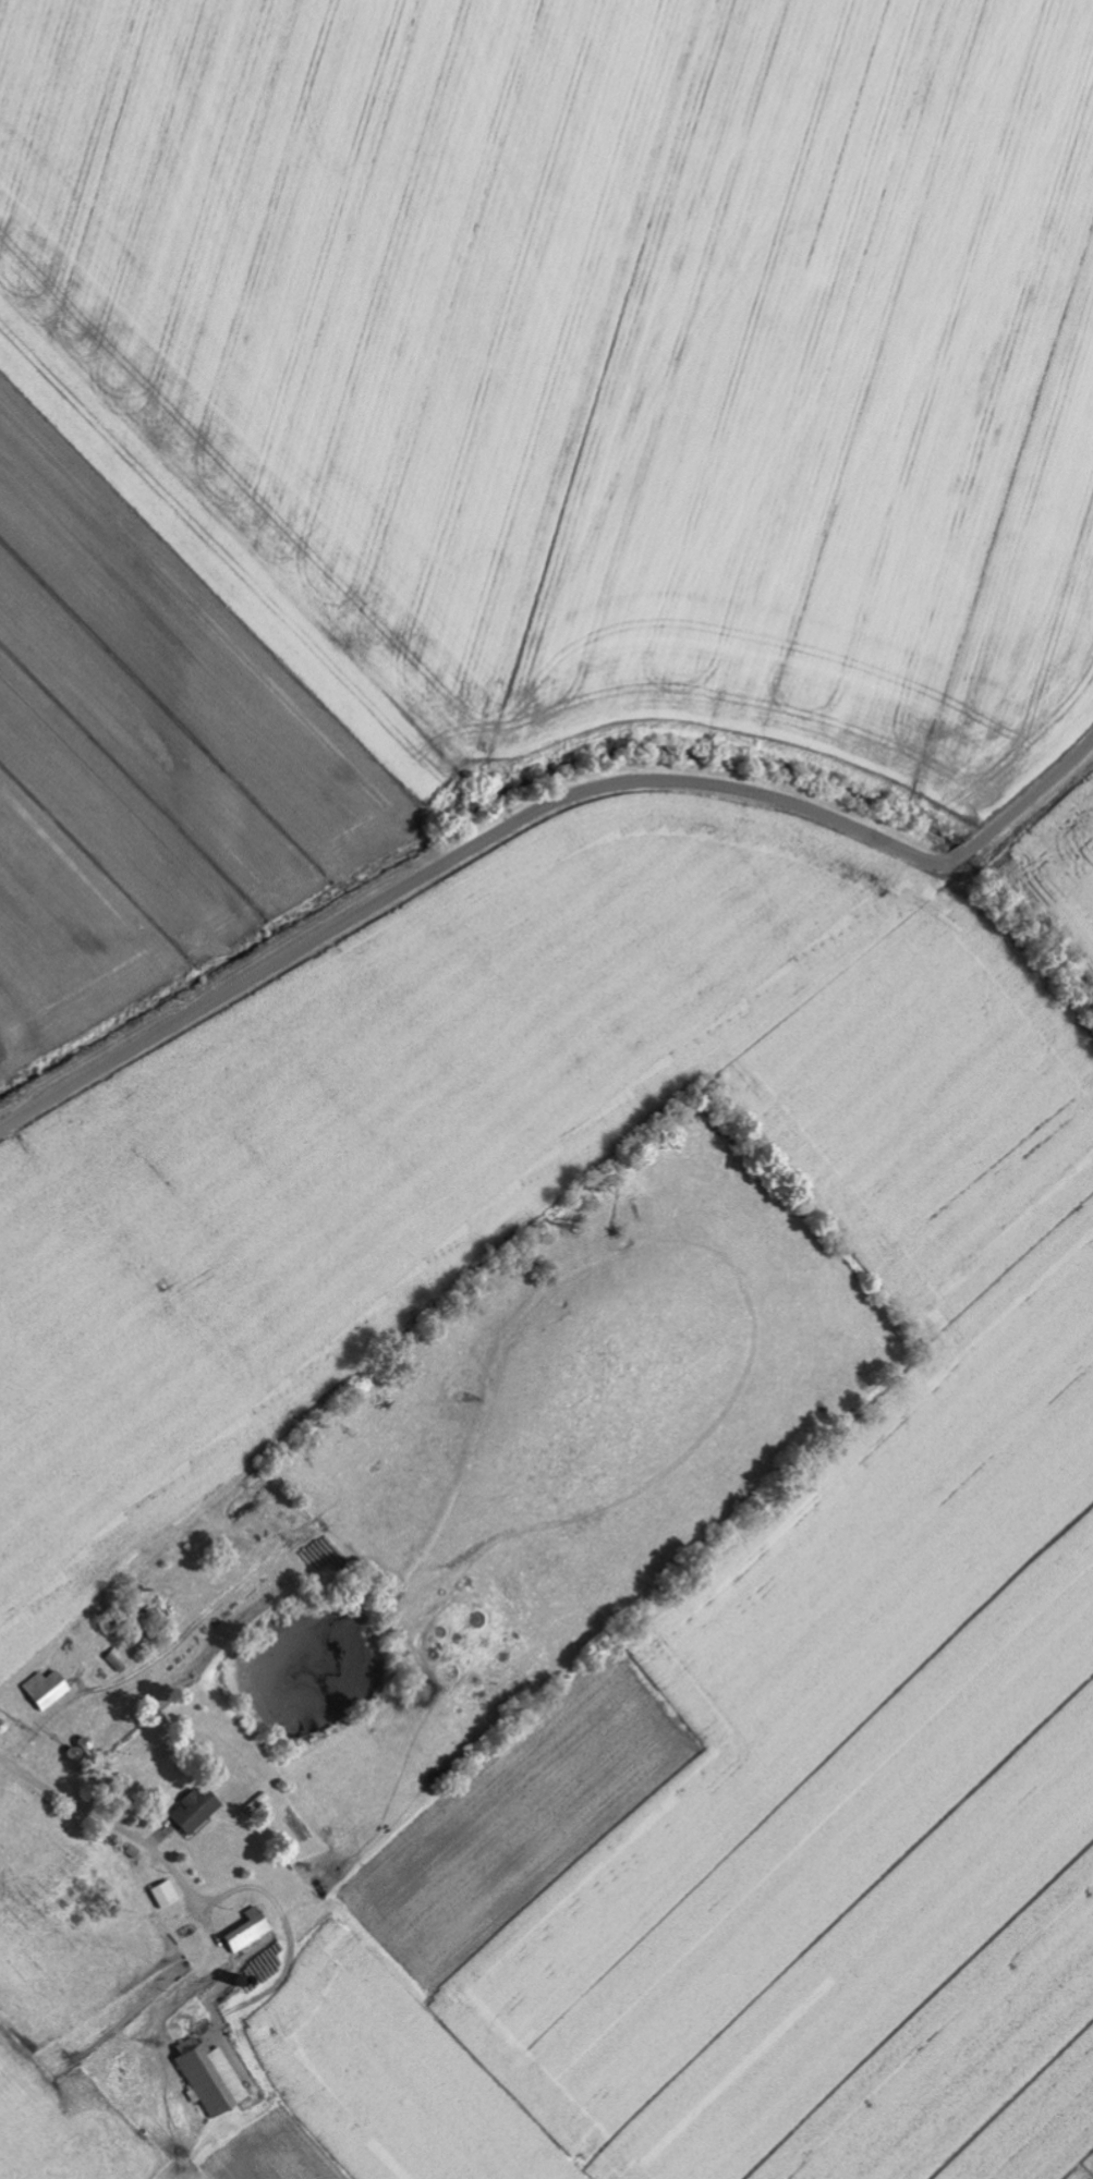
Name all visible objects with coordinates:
road: (535, 809)
building: (121, 1661)
building: (50, 1690)
building: (198, 1811)
road: (109, 1822)
building: (168, 1896)
building: (251, 1932)
building: (212, 2077)

